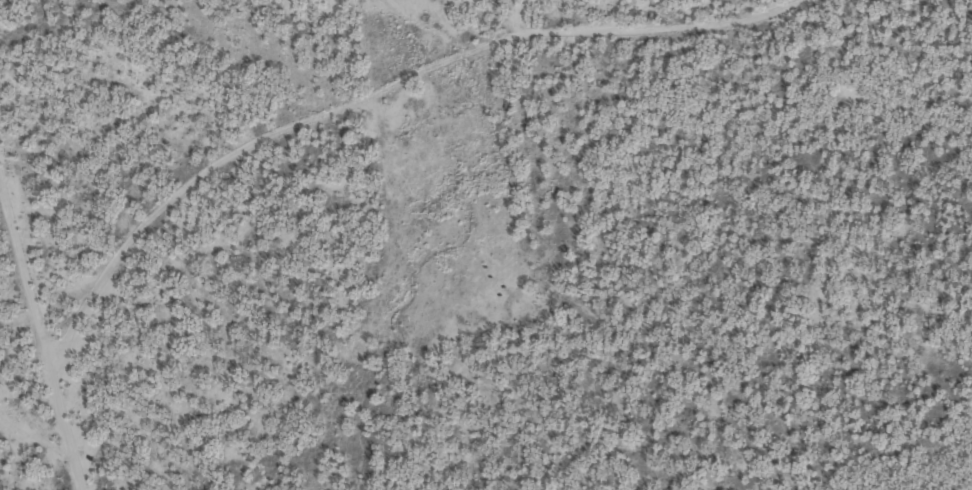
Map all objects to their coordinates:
road: (944, 90)
road: (920, 480)

